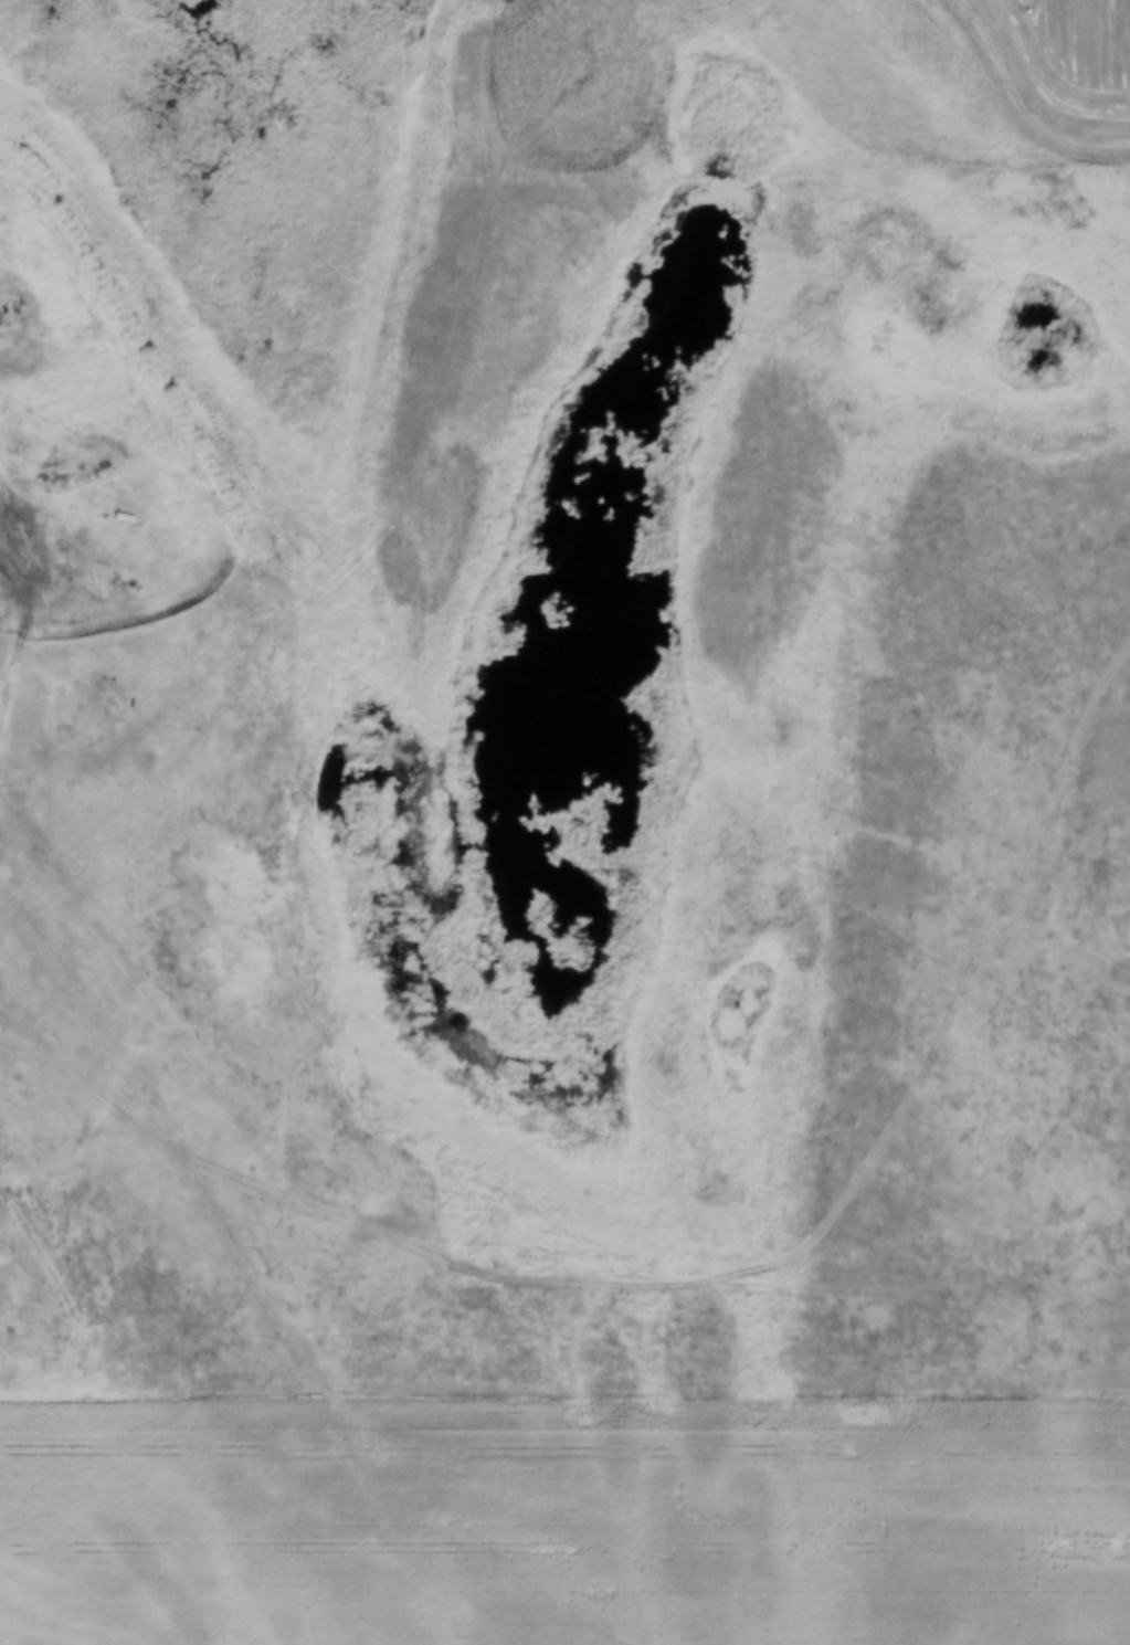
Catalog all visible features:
building: (72, 601)

